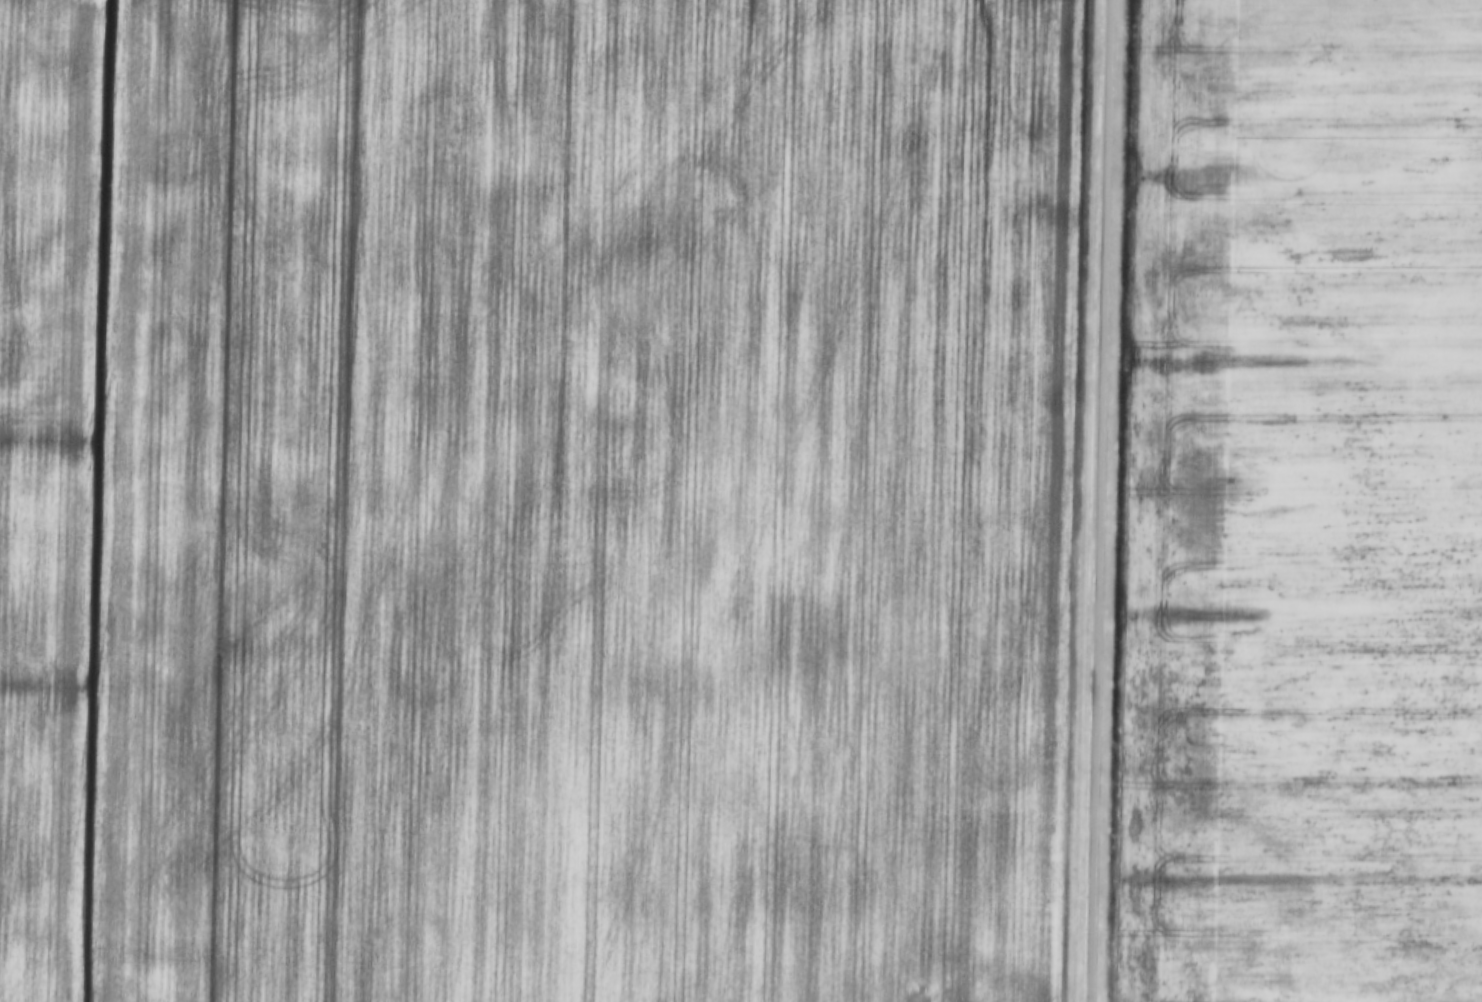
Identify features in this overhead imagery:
crop: (535, 499)
road: (1093, 501)
crop: (1300, 505)

